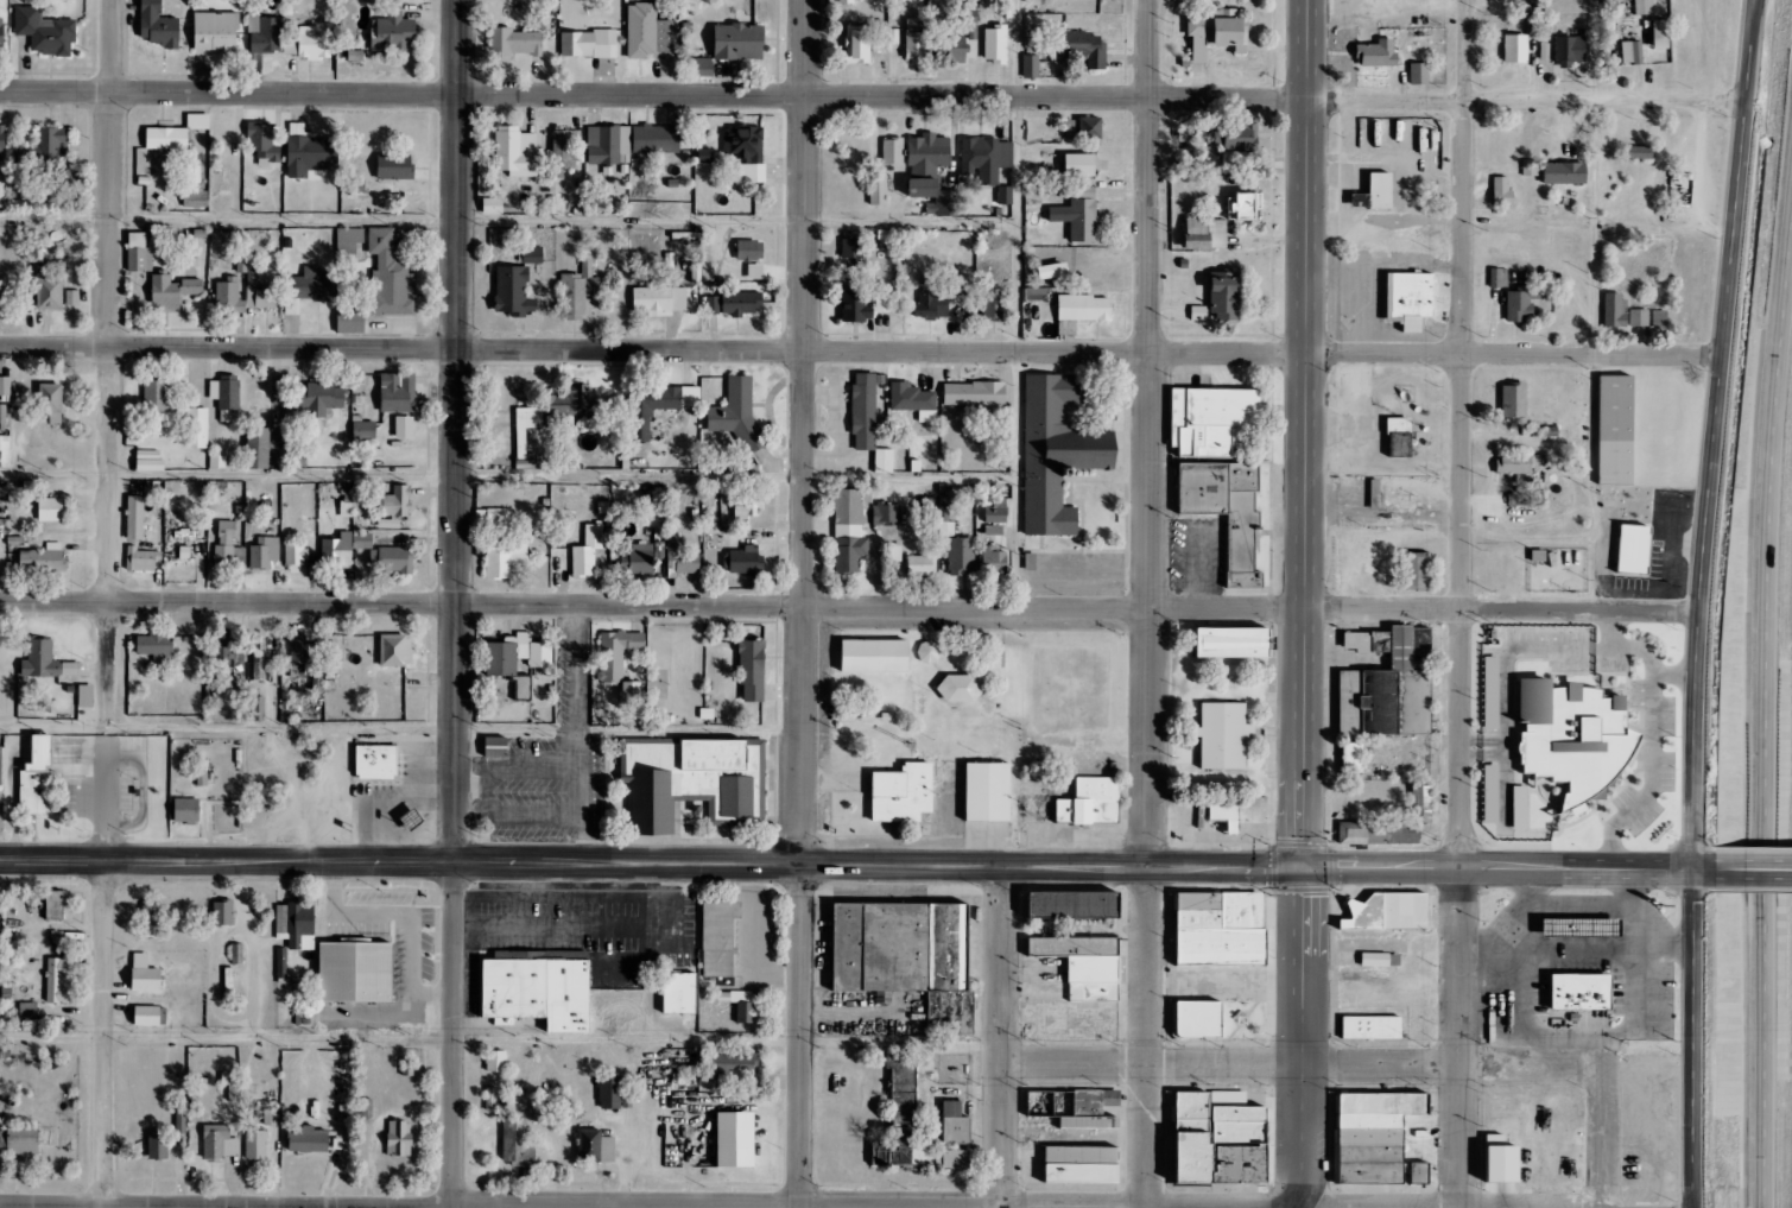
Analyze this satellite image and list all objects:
building: (1640, 7)
road: (1756, 12)
building: (159, 26)
building: (2, 32)
building: (46, 32)
building: (217, 32)
building: (648, 32)
building: (394, 33)
building: (265, 36)
building: (1652, 36)
building: (1215, 37)
building: (515, 43)
building: (741, 43)
building: (914, 43)
building: (589, 44)
building: (857, 44)
building: (308, 45)
building: (995, 45)
building: (1087, 50)
building: (1511, 50)
building: (1564, 50)
building: (1628, 52)
building: (1372, 55)
building: (702, 68)
building: (1030, 68)
building: (1414, 75)
road: (873, 97)
building: (197, 121)
building: (1084, 128)
building: (1228, 134)
building: (169, 138)
building: (656, 139)
building: (4, 140)
building: (1240, 144)
building: (264, 145)
building: (608, 145)
building: (517, 151)
building: (747, 151)
building: (893, 151)
building: (563, 152)
building: (1634, 152)
building: (310, 154)
building: (1649, 157)
building: (984, 159)
building: (1083, 165)
building: (397, 166)
building: (930, 172)
building: (1557, 173)
road: (1602, 177)
building: (353, 182)
building: (878, 189)
building: (1373, 191)
building: (1497, 194)
building: (1005, 195)
building: (195, 198)
building: (1247, 207)
building: (1079, 219)
road: (513, 222)
building: (851, 248)
building: (751, 249)
building: (139, 253)
building: (533, 255)
building: (1052, 272)
building: (390, 276)
building: (1495, 278)
building: (228, 285)
building: (308, 287)
building: (577, 289)
building: (173, 291)
building: (514, 291)
building: (51, 292)
building: (2, 296)
building: (71, 297)
building: (1227, 297)
building: (659, 299)
building: (1419, 301)
building: (1515, 302)
building: (742, 303)
building: (885, 303)
building: (932, 304)
building: (995, 304)
building: (713, 305)
road: (1026, 305)
building: (856, 306)
building: (1610, 310)
building: (1083, 311)
building: (1634, 317)
building: (1654, 320)
building: (350, 322)
road: (860, 352)
road: (109, 366)
building: (5, 386)
building: (399, 392)
building: (974, 394)
building: (157, 396)
building: (226, 396)
building: (319, 398)
building: (914, 400)
building: (1509, 400)
building: (51, 403)
building: (572, 403)
building: (651, 407)
building: (737, 411)
building: (865, 411)
building: (1223, 422)
building: (527, 426)
building: (197, 428)
building: (405, 428)
building: (365, 429)
building: (1625, 431)
building: (1392, 444)
building: (259, 448)
building: (5, 451)
building: (1066, 457)
building: (885, 461)
building: (1511, 462)
building: (152, 466)
road: (513, 479)
building: (1388, 501)
building: (398, 502)
building: (749, 506)
building: (51, 511)
building: (1236, 511)
building: (886, 514)
building: (135, 518)
building: (994, 530)
building: (849, 531)
building: (1644, 543)
building: (228, 546)
building: (1626, 549)
building: (338, 551)
building: (588, 551)
building: (264, 552)
building: (296, 556)
building: (961, 556)
building: (638, 558)
building: (683, 558)
building: (44, 559)
building: (141, 559)
building: (391, 559)
building: (507, 559)
building: (745, 561)
building: (995, 561)
building: (922, 567)
building: (1410, 570)
road: (1697, 602)
road: (452, 603)
road: (802, 603)
road: (1150, 603)
road: (1458, 603)
road: (1303, 605)
road: (848, 608)
road: (1621, 630)
building: (1241, 640)
building: (1416, 645)
building: (157, 646)
road: (1614, 649)
building: (397, 651)
building: (219, 652)
building: (619, 653)
building: (519, 654)
building: (258, 657)
building: (884, 657)
building: (40, 660)
building: (72, 669)
building: (753, 670)
building: (1376, 676)
road: (1678, 681)
building: (524, 688)
park: (983, 691)
building: (1487, 692)
building: (87, 696)
building: (1500, 700)
road: (1766, 717)
road: (517, 728)
road: (690, 729)
road: (226, 733)
road: (580, 733)
building: (1233, 739)
building: (1587, 742)
building: (506, 752)
road: (1488, 752)
building: (44, 753)
building: (1348, 757)
building: (1, 765)
building: (385, 765)
building: (202, 778)
road: (1676, 783)
building: (698, 784)
building: (996, 793)
building: (1486, 793)
building: (32, 796)
building: (913, 797)
building: (1500, 797)
road: (360, 799)
building: (1418, 803)
building: (1100, 804)
building: (1514, 807)
building: (188, 810)
building: (1531, 812)
building: (1218, 816)
building: (1236, 818)
building: (420, 821)
gas station: (420, 821)
road: (375, 830)
building: (1374, 833)
road: (856, 864)
traffic signals: (1303, 868)
road: (1753, 869)
building: (1083, 904)
building: (56, 905)
building: (223, 913)
building: (159, 919)
building: (297, 925)
building: (1590, 928)
gas station: (1590, 928)
building: (1211, 929)
building: (720, 938)
building: (891, 948)
building: (958, 948)
building: (1083, 948)
building: (1374, 960)
building: (281, 963)
building: (1102, 969)
building: (359, 973)
building: (147, 975)
road: (105, 979)
building: (57, 981)
building: (542, 992)
building: (1589, 992)
building: (1103, 993)
building: (682, 994)
building: (29, 1010)
building: (961, 1014)
building: (150, 1017)
building: (1192, 1018)
building: (1367, 1027)
road: (1000, 1036)
road: (500, 1043)
building: (496, 1061)
road: (1307, 1062)
building: (903, 1089)
building: (610, 1093)
building: (1085, 1101)
building: (1424, 1103)
building: (1379, 1105)
building: (540, 1112)
building: (270, 1118)
building: (1081, 1121)
building: (1379, 1122)
building: (957, 1124)
road: (1614, 1137)
building: (1209, 1138)
building: (20, 1139)
building: (399, 1139)
building: (1380, 1139)
building: (310, 1140)
building: (739, 1140)
building: (220, 1143)
building: (517, 1143)
building: (255, 1145)
building: (158, 1146)
building: (897, 1157)
building: (958, 1159)
building: (1493, 1164)
building: (1380, 1165)
road: (312, 1207)
road: (1296, 1207)

